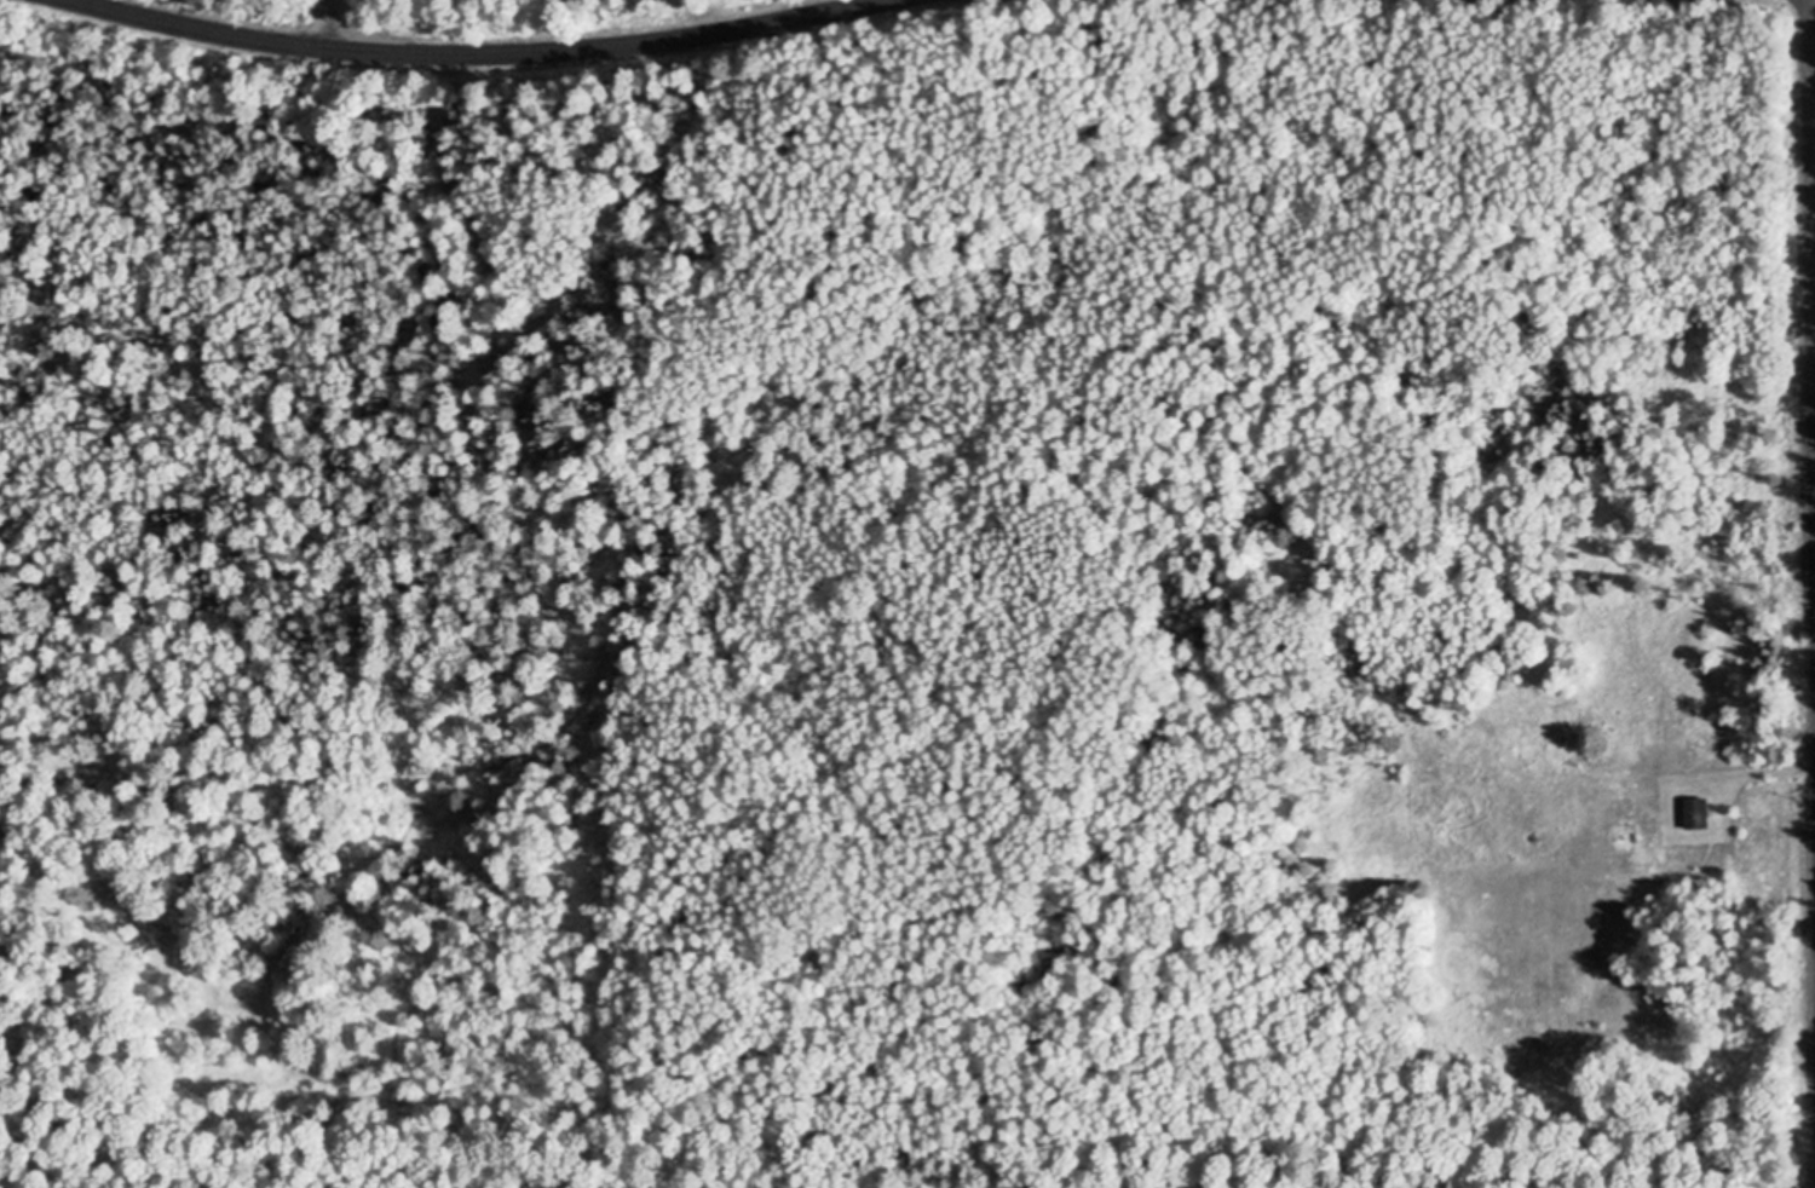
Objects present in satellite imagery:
road: (328, 21)
road: (472, 44)
road: (1814, 263)
building: (1700, 811)

